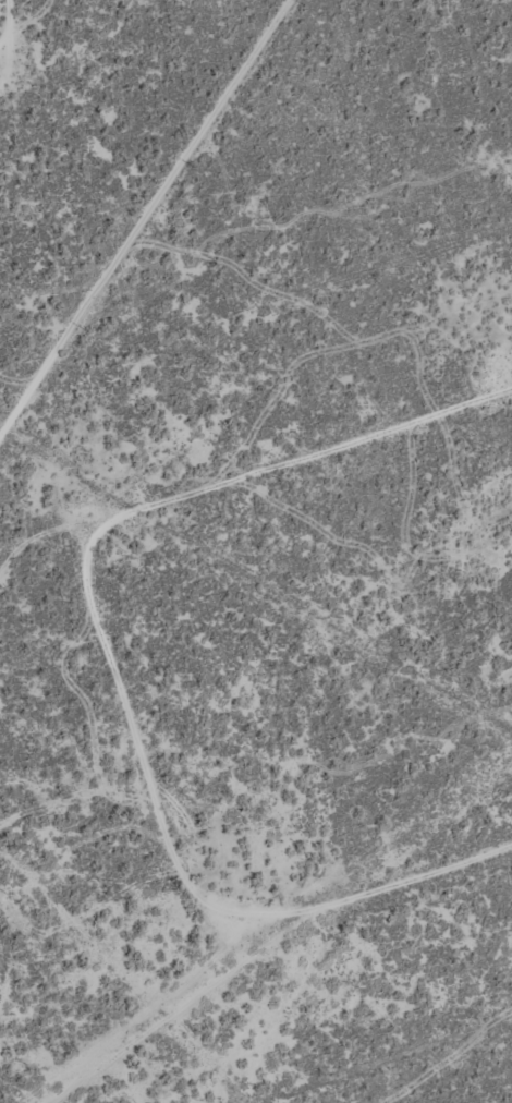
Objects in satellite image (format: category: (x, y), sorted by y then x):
road: (68, 705)
road: (385, 1063)

